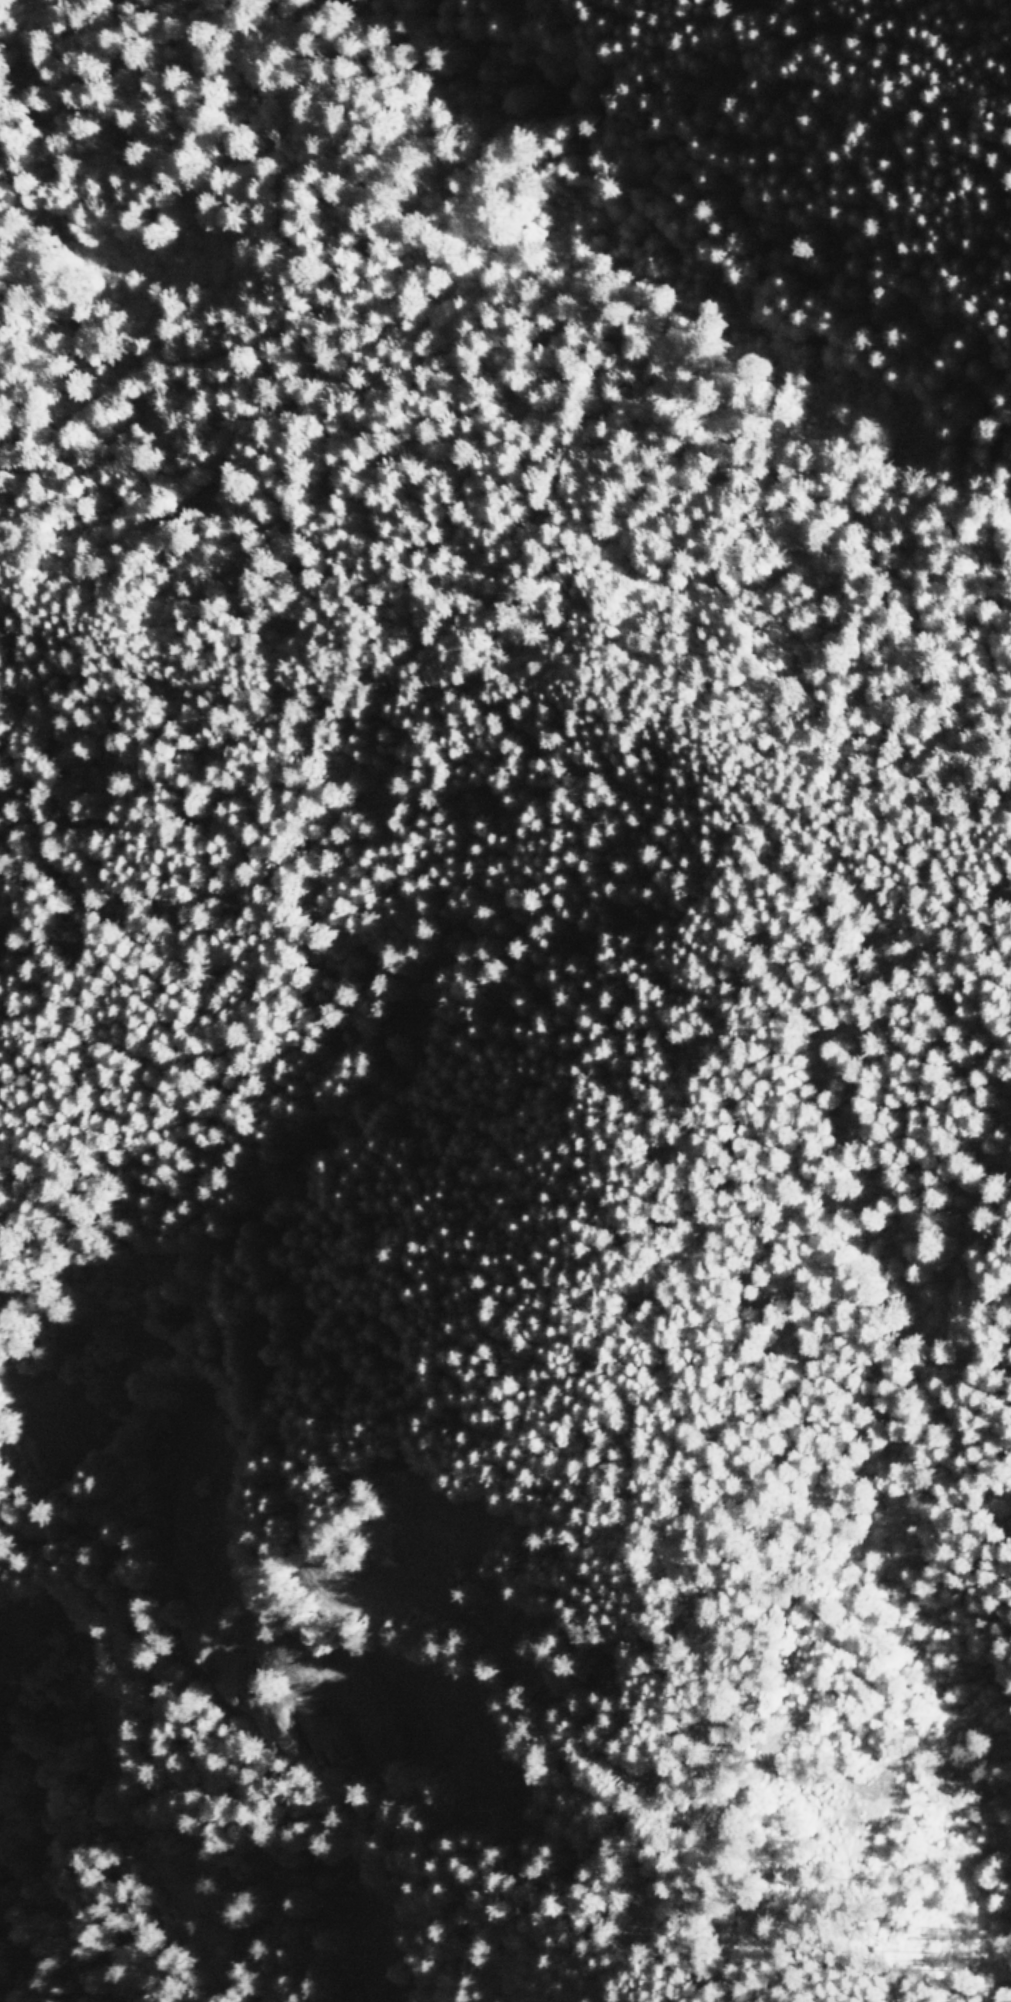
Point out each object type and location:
road: (477, 226)

